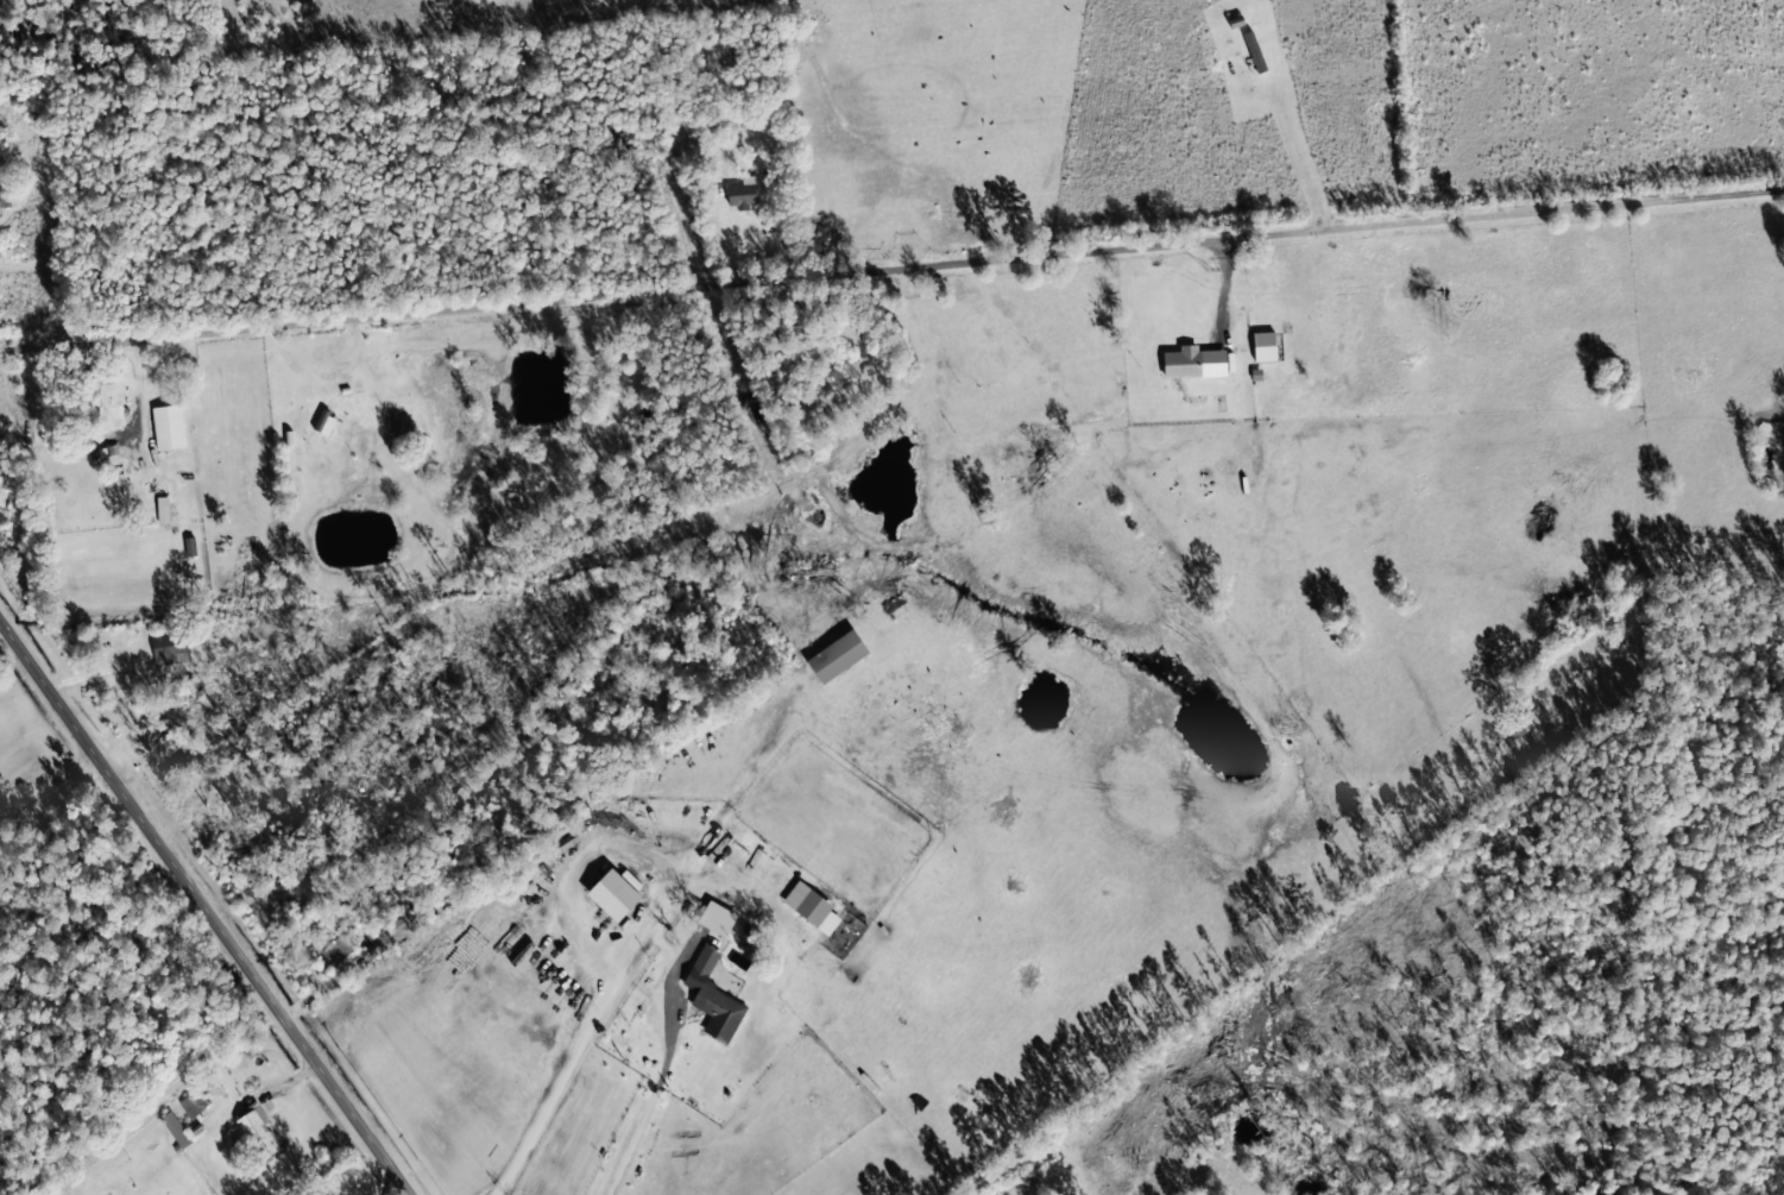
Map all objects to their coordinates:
building: (1254, 50)
building: (742, 191)
road: (1721, 199)
road: (828, 276)
building: (1263, 345)
building: (1183, 360)
building: (402, 423)
building: (169, 426)
building: (170, 647)
building: (837, 654)
building: (616, 892)
building: (811, 905)
road: (204, 906)
building: (717, 916)
building: (713, 995)
road: (622, 1086)
building: (195, 1105)
building: (175, 1127)
building: (259, 1128)

